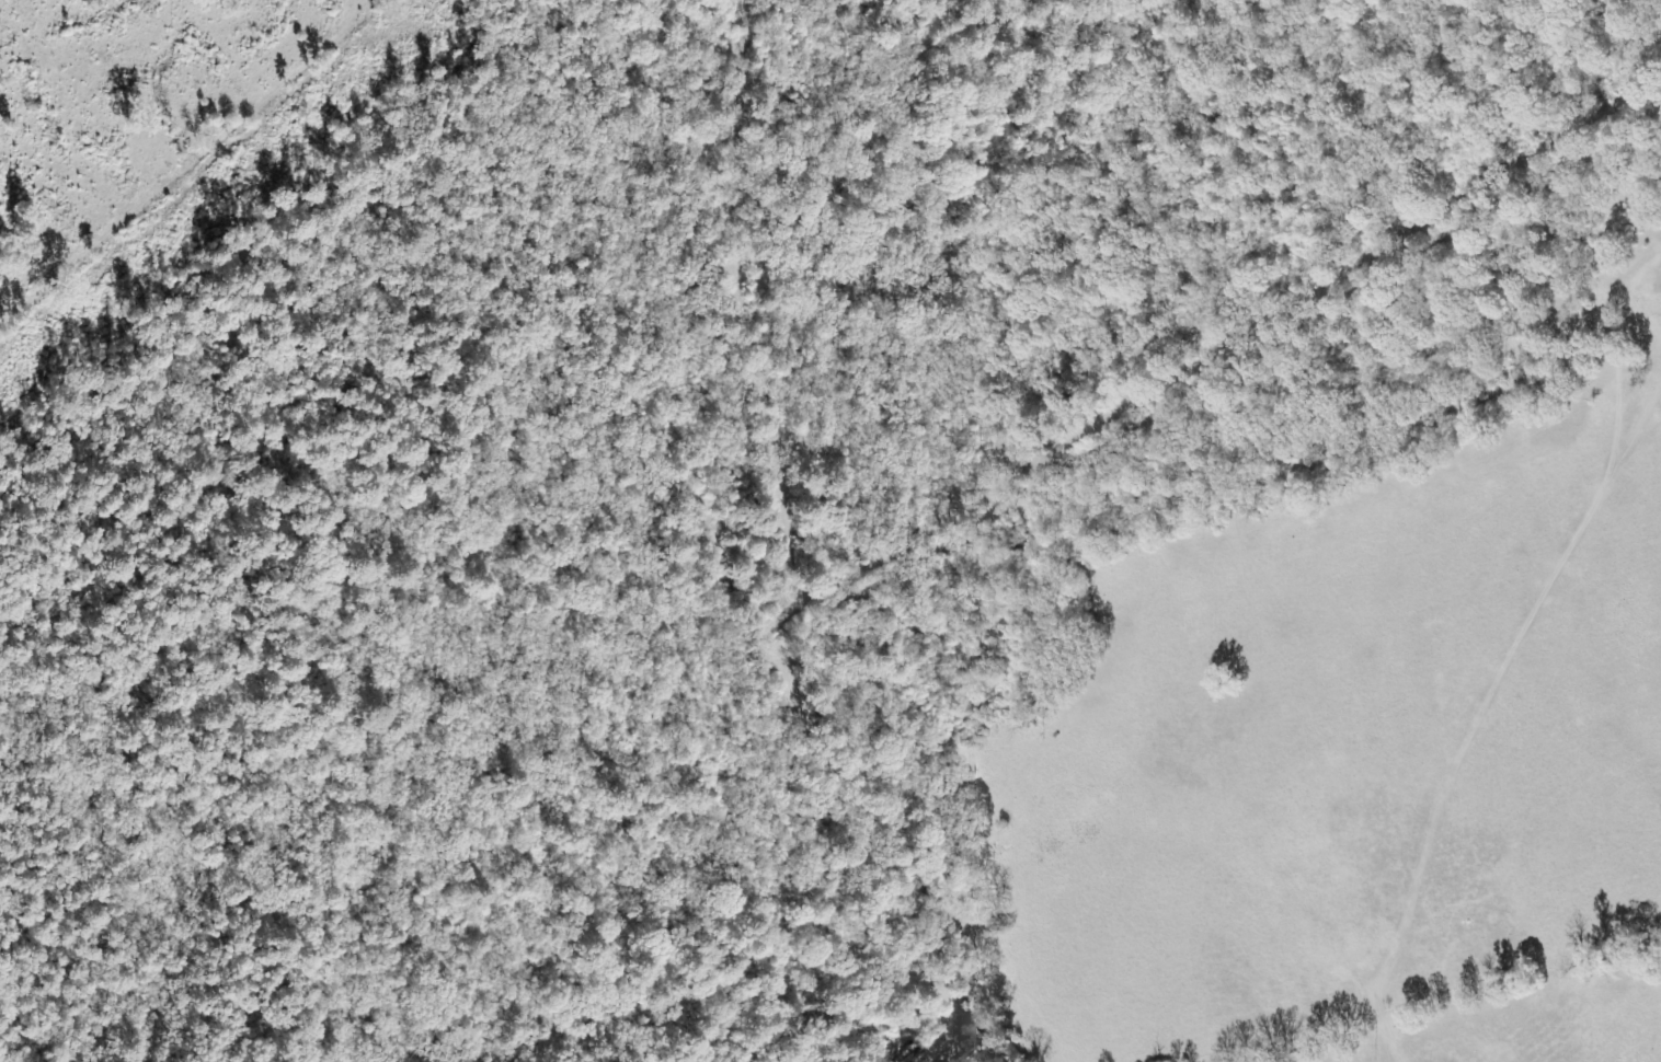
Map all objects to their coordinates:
road: (1611, 515)

